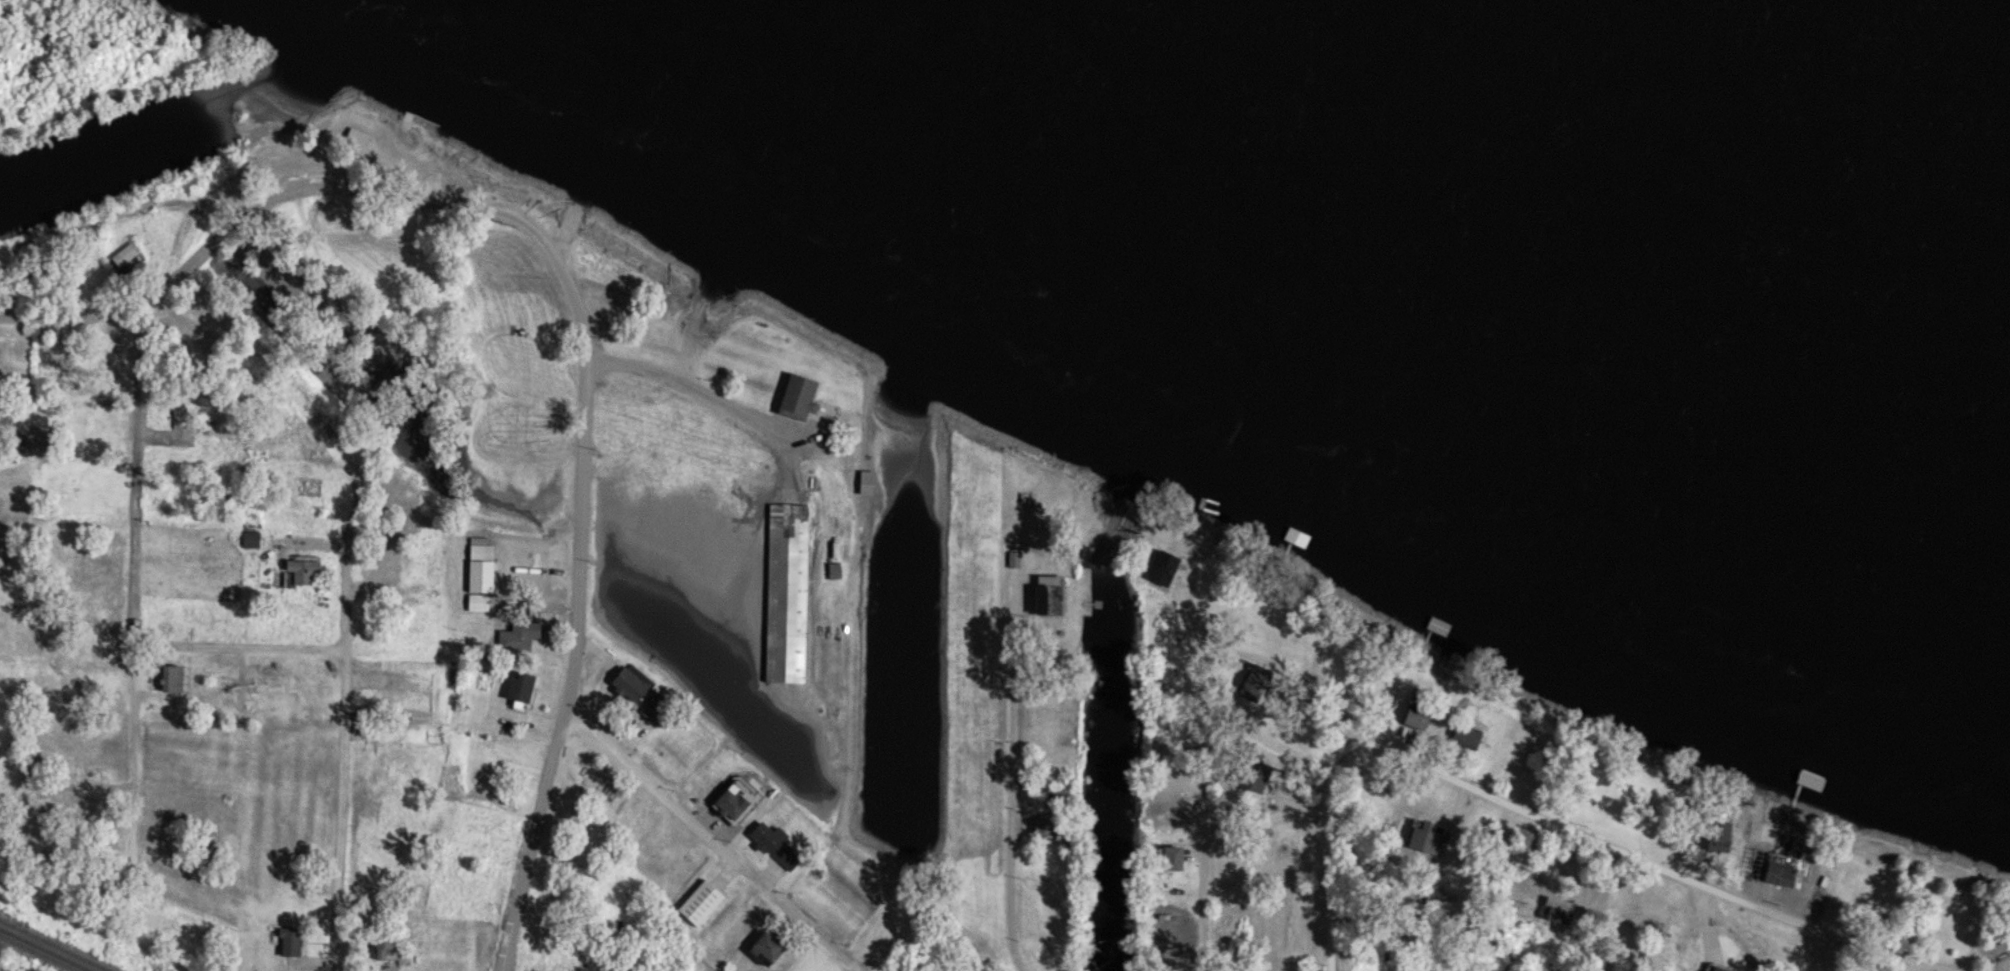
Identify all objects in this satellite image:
river: (1730, 81)
road: (575, 309)
road: (699, 390)
road: (133, 473)
road: (346, 554)
road: (1321, 678)
road: (345, 711)
road: (1010, 781)
road: (1206, 817)
road: (711, 840)
road: (1348, 853)
road: (1636, 870)
railway: (45, 949)
road: (854, 969)

